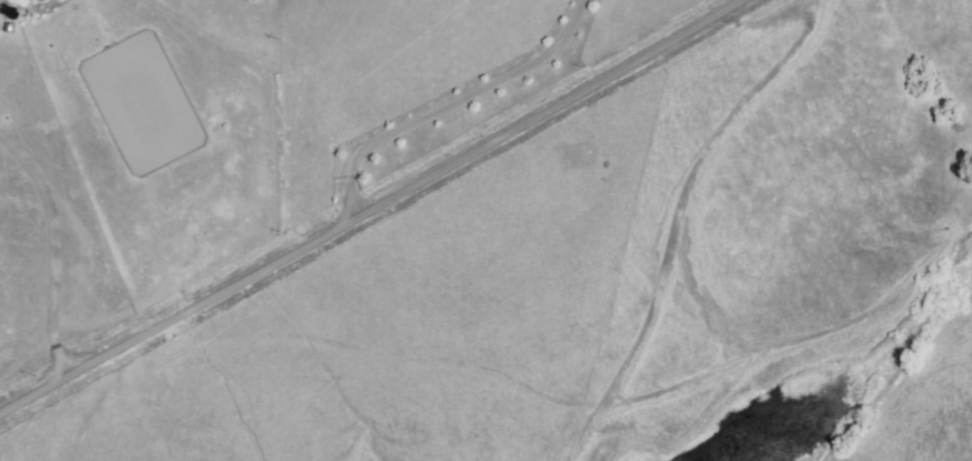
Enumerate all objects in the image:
road: (447, 103)
road: (370, 207)
road: (54, 245)

